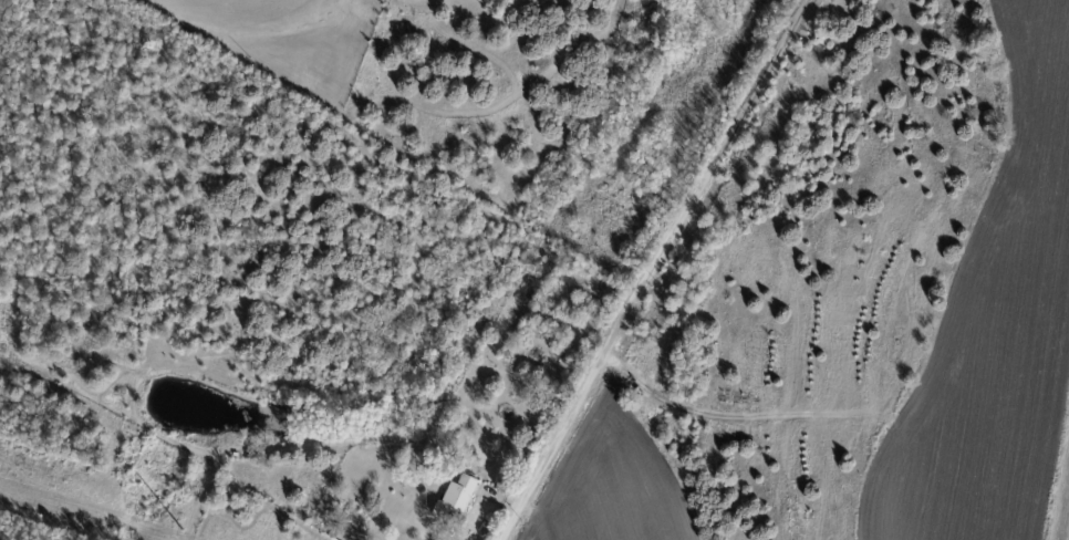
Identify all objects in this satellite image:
road: (652, 270)
building: (455, 501)
building: (201, 512)
building: (338, 529)

